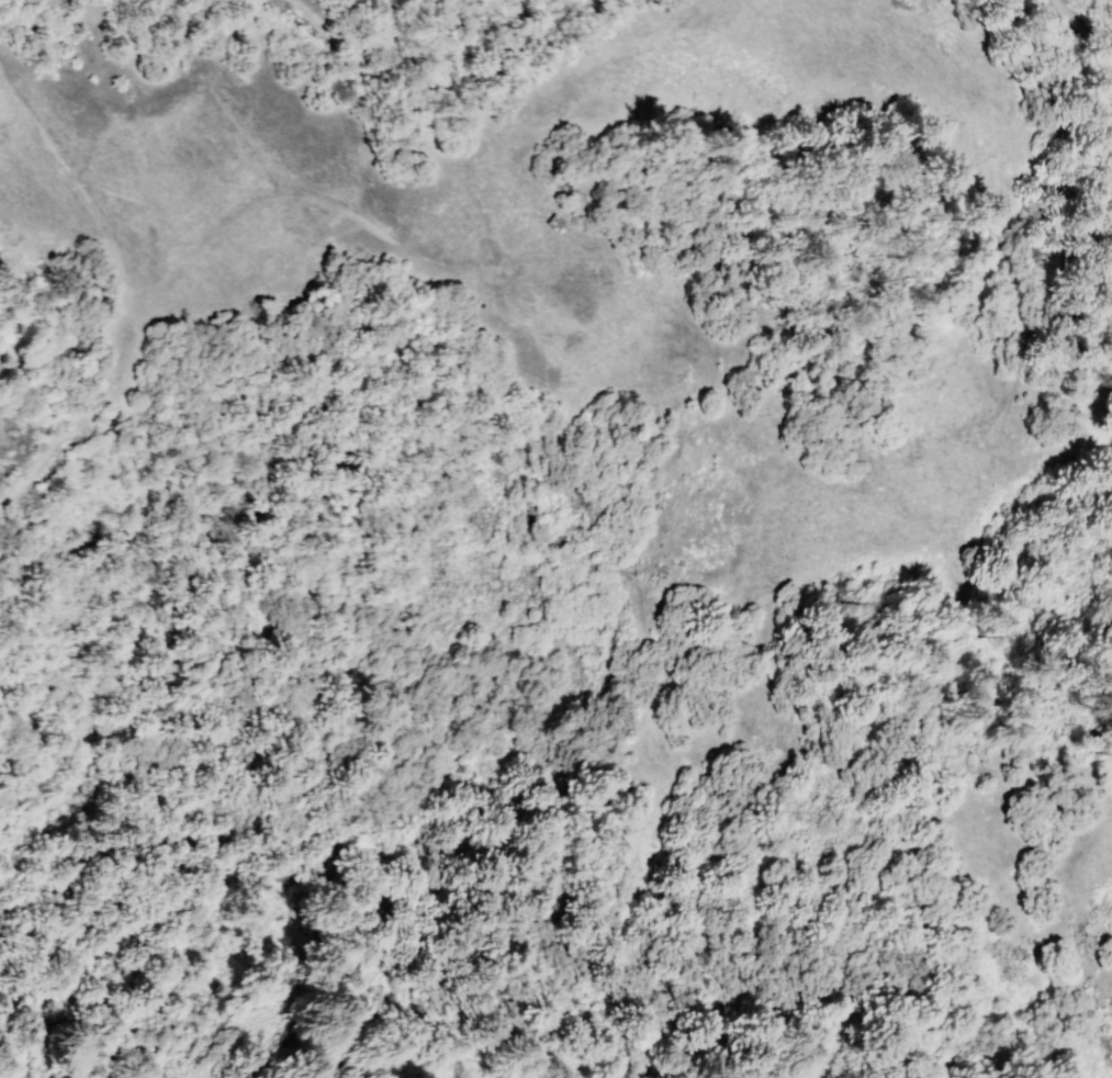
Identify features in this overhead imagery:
road: (1083, 21)
road: (440, 155)
road: (78, 196)
building: (554, 223)
road: (199, 256)
road: (29, 346)
road: (955, 433)

